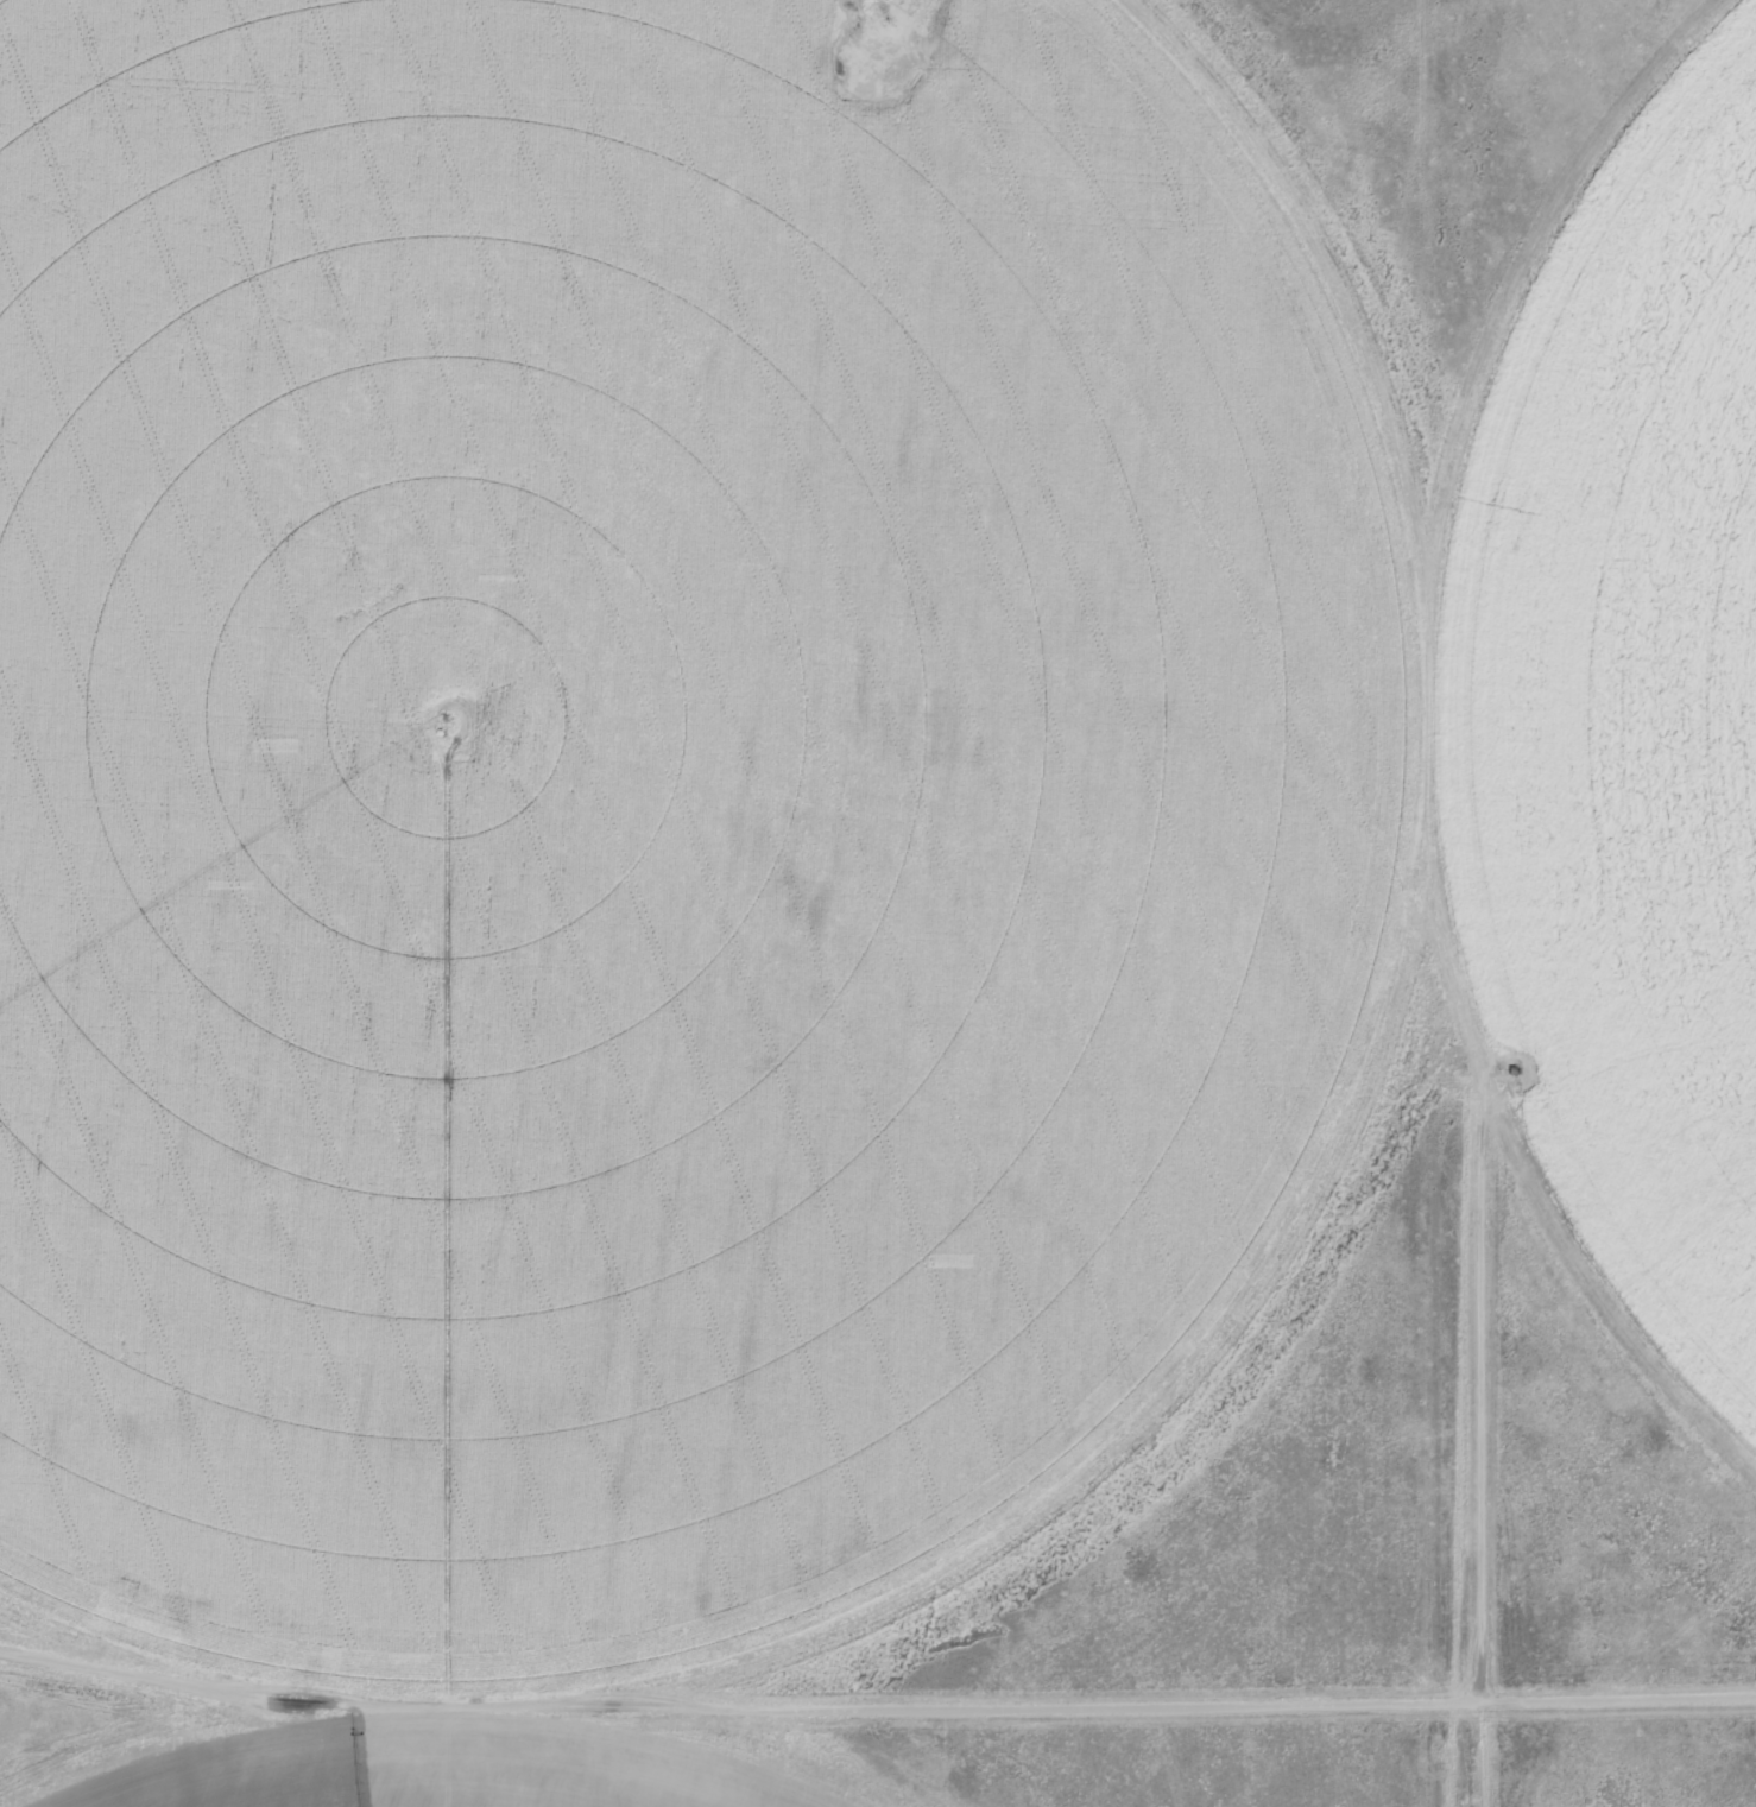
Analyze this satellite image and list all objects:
road: (612, 903)

